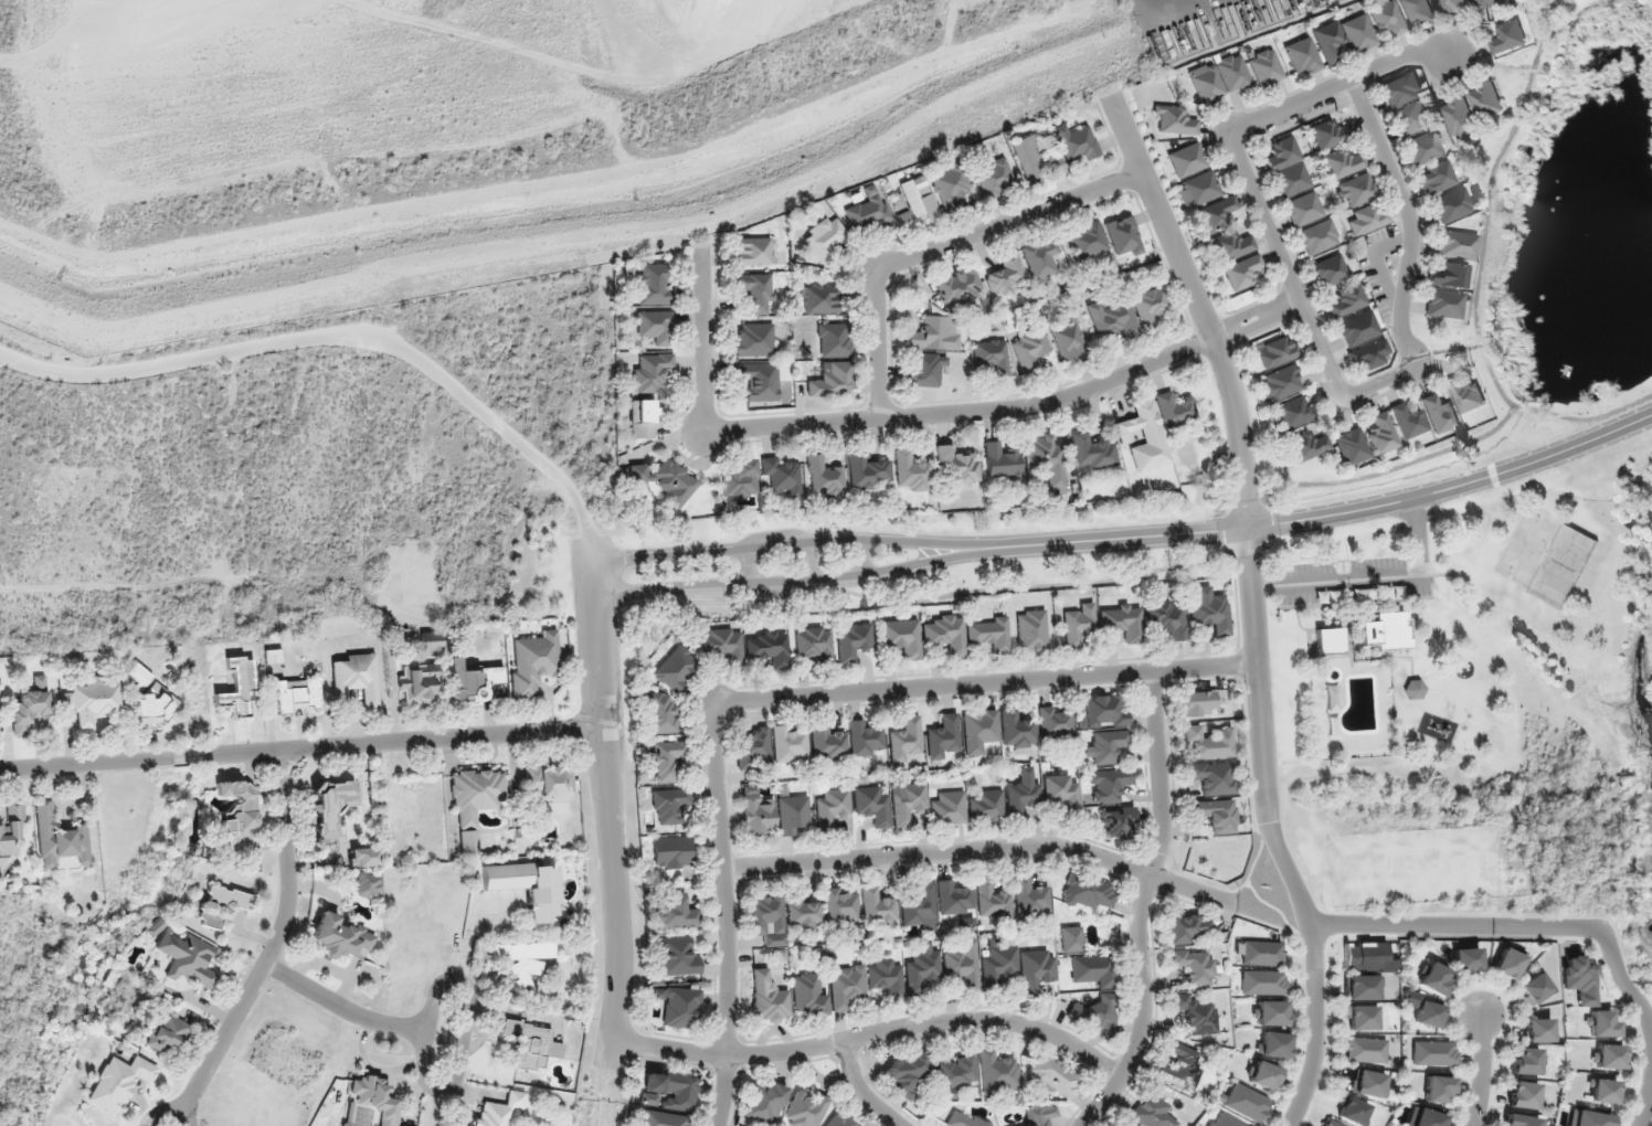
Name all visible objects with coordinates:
building: (1492, 3)
building: (1453, 6)
building: (1417, 11)
building: (1387, 18)
building: (1358, 33)
building: (1508, 36)
building: (1328, 42)
building: (1302, 54)
building: (1266, 67)
road: (1410, 72)
building: (1219, 77)
building: (1486, 100)
building: (1406, 104)
road: (1303, 117)
building: (1460, 117)
building: (1175, 120)
building: (1330, 134)
building: (1076, 142)
building: (1423, 148)
building: (1035, 156)
building: (1187, 159)
building: (1342, 162)
building: (1288, 168)
building: (994, 178)
building: (1439, 178)
building: (950, 185)
building: (1198, 189)
building: (1356, 190)
road: (1409, 200)
building: (917, 201)
building: (1451, 205)
building: (1303, 209)
building: (867, 211)
building: (1220, 211)
building: (1367, 219)
building: (1124, 236)
building: (1319, 236)
building: (1088, 240)
building: (1455, 245)
building: (1232, 246)
road: (951, 254)
building: (1040, 258)
building: (1331, 270)
building: (1243, 272)
building: (1451, 275)
building: (1006, 276)
building: (959, 287)
building: (819, 299)
building: (1348, 300)
building: (1444, 304)
building: (1150, 306)
building: (1113, 319)
building: (654, 327)
building: (1358, 328)
building: (934, 333)
road: (345, 338)
building: (753, 340)
building: (833, 340)
building: (1068, 340)
building: (1030, 348)
road: (1325, 349)
building: (1278, 352)
building: (991, 355)
building: (1370, 355)
road: (714, 358)
building: (926, 370)
building: (650, 371)
building: (758, 379)
building: (829, 380)
building: (1281, 383)
building: (1466, 393)
building: (1174, 410)
building: (1293, 413)
building: (1439, 413)
building: (642, 418)
road: (1023, 421)
building: (1408, 421)
building: (1383, 434)
building: (1143, 436)
building: (1307, 446)
building: (1353, 446)
building: (1092, 452)
building: (1046, 458)
building: (1002, 463)
building: (956, 466)
building: (868, 472)
building: (910, 472)
building: (782, 474)
building: (824, 477)
building: (740, 479)
building: (667, 480)
road: (1453, 485)
road: (1247, 509)
road: (1106, 538)
road: (779, 546)
park: (1525, 548)
park: (1564, 565)
road: (782, 583)
building: (1391, 593)
building: (1322, 596)
building: (1209, 612)
building: (1166, 618)
building: (1122, 622)
building: (1078, 624)
building: (1031, 630)
building: (1385, 630)
building: (945, 633)
building: (989, 633)
building: (900, 637)
building: (853, 641)
building: (1330, 641)
building: (813, 642)
building: (431, 644)
building: (720, 644)
building: (769, 647)
building: (272, 656)
building: (533, 661)
building: (675, 668)
building: (139, 674)
building: (493, 674)
building: (357, 678)
building: (464, 681)
building: (419, 682)
road: (985, 683)
building: (239, 684)
building: (1413, 689)
building: (298, 695)
building: (92, 701)
building: (1197, 703)
building: (30, 704)
building: (155, 708)
building: (1105, 711)
building: (660, 714)
building: (1056, 722)
building: (1016, 730)
building: (978, 731)
building: (942, 736)
road: (442, 739)
building: (904, 739)
building: (865, 740)
building: (1209, 742)
building: (827, 743)
building: (788, 744)
building: (1106, 746)
building: (753, 747)
building: (667, 759)
road: (140, 761)
building: (1214, 777)
building: (551, 782)
building: (1108, 785)
building: (1021, 792)
building: (1061, 792)
building: (475, 803)
building: (908, 803)
building: (239, 805)
building: (331, 805)
building: (871, 805)
building: (669, 806)
building: (986, 806)
building: (832, 807)
building: (947, 808)
road: (607, 814)
building: (758, 814)
building: (793, 815)
building: (1217, 815)
building: (1116, 821)
building: (11, 829)
building: (57, 839)
road: (982, 851)
building: (673, 852)
building: (366, 857)
road: (723, 878)
building: (367, 885)
building: (527, 885)
building: (1088, 892)
building: (1030, 896)
building: (953, 897)
building: (992, 900)
building: (840, 904)
building: (222, 906)
building: (920, 906)
road: (1142, 906)
building: (877, 907)
building: (677, 912)
building: (802, 913)
building: (766, 920)
building: (1189, 926)
road: (1411, 926)
building: (340, 936)
building: (1071, 938)
road: (272, 948)
building: (1262, 953)
building: (1365, 955)
building: (678, 956)
building: (190, 959)
building: (522, 959)
building: (1465, 960)
building: (998, 964)
building: (1506, 964)
building: (963, 965)
building: (1194, 966)
building: (1035, 968)
building: (1092, 969)
building: (921, 971)
building: (885, 976)
building: (1433, 978)
building: (1578, 979)
building: (1263, 982)
building: (846, 987)
building: (1360, 987)
building: (1533, 988)
building: (807, 996)
building: (767, 999)
building: (679, 1006)
road: (342, 1008)
building: (1095, 1012)
building: (1269, 1012)
building: (1428, 1013)
building: (1195, 1015)
building: (1360, 1017)
road: (989, 1020)
building: (1602, 1023)
building: (1536, 1030)
building: (165, 1033)
road: (465, 1033)
building: (532, 1044)
building: (1275, 1044)
building: (1365, 1050)
building: (1433, 1053)
road: (729, 1054)
building: (1606, 1056)
building: (1526, 1061)
building: (1180, 1070)
road: (1482, 1070)
building: (997, 1072)
building: (906, 1073)
building: (956, 1074)
building: (1263, 1075)
building: (1053, 1077)
building: (118, 1081)
building: (1368, 1084)
building: (669, 1090)
road: (723, 1090)
building: (1438, 1090)
road: (860, 1091)
building: (1601, 1091)
building: (1522, 1095)
road: (1646, 1096)
building: (375, 1098)
building: (1246, 1102)
building: (764, 1103)
building: (499, 1109)
building: (805, 1109)
building: (1152, 1111)
building: (1353, 1112)
building: (1039, 1115)
building: (1428, 1118)
building: (1588, 1118)
building: (663, 1119)
building: (839, 1119)
building: (964, 1119)
building: (1224, 1119)
building: (1519, 1120)
building: (1331, 1123)
building: (1124, 1124)

